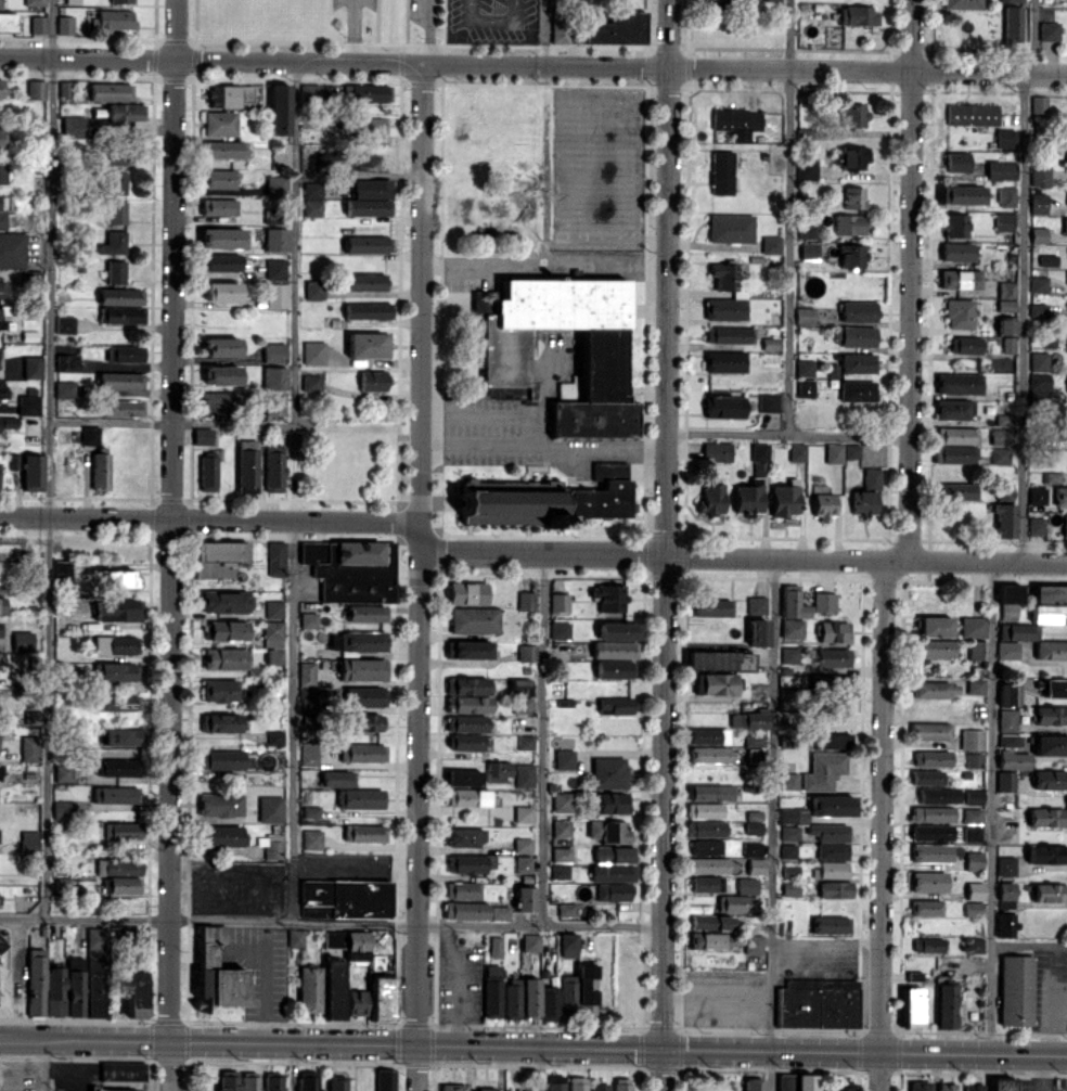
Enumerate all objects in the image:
building: (728, 0)
building: (772, 0)
building: (1011, 0)
building: (72, 1)
building: (120, 1)
building: (34, 2)
building: (0, 3)
building: (962, 4)
building: (858, 15)
road: (492, 18)
building: (112, 21)
building: (7, 22)
building: (1012, 23)
building: (38, 24)
building: (64, 24)
building: (617, 28)
road: (351, 30)
road: (426, 30)
building: (1049, 30)
road: (550, 31)
road: (1033, 35)
road: (532, 63)
building: (65, 88)
building: (36, 89)
building: (110, 91)
building: (309, 91)
building: (365, 92)
building: (222, 95)
building: (1039, 103)
building: (279, 108)
building: (125, 112)
building: (972, 114)
building: (852, 115)
building: (736, 118)
building: (219, 123)
building: (72, 126)
building: (370, 127)
building: (1065, 134)
building: (1006, 137)
building: (224, 149)
building: (849, 156)
building: (116, 159)
building: (957, 162)
building: (1001, 169)
building: (806, 170)
building: (2, 171)
building: (721, 172)
building: (1040, 175)
building: (219, 178)
building: (115, 183)
building: (275, 185)
building: (962, 194)
building: (1006, 195)
building: (370, 197)
building: (853, 197)
building: (312, 198)
building: (1038, 203)
building: (218, 206)
building: (115, 211)
building: (270, 216)
road: (789, 218)
building: (5, 220)
building: (1003, 221)
building: (848, 223)
building: (955, 224)
building: (1064, 226)
building: (730, 228)
building: (807, 231)
building: (1038, 234)
building: (222, 238)
building: (275, 239)
road: (294, 242)
building: (113, 243)
building: (365, 244)
building: (771, 244)
building: (12, 249)
building: (808, 251)
building: (956, 252)
building: (851, 255)
building: (221, 261)
road: (527, 265)
building: (275, 268)
building: (115, 271)
building: (33, 277)
road: (908, 279)
building: (960, 279)
building: (365, 281)
building: (1038, 284)
building: (2, 290)
building: (313, 290)
building: (1006, 290)
building: (222, 291)
building: (738, 294)
building: (277, 295)
building: (120, 296)
building: (1005, 305)
building: (1037, 309)
building: (368, 310)
building: (858, 310)
building: (959, 313)
building: (121, 315)
road: (1024, 315)
building: (805, 316)
building: (2, 323)
building: (65, 324)
building: (1006, 333)
building: (728, 334)
building: (853, 335)
building: (770, 343)
building: (964, 344)
building: (368, 345)
building: (221, 346)
building: (274, 351)
building: (313, 351)
building: (504, 351)
building: (125, 354)
building: (66, 361)
building: (724, 361)
building: (1038, 361)
building: (857, 362)
building: (31, 367)
building: (805, 368)
building: (221, 374)
building: (274, 377)
building: (120, 380)
building: (372, 380)
building: (311, 383)
building: (959, 383)
building: (1039, 386)
building: (0, 387)
building: (806, 387)
building: (64, 389)
building: (857, 390)
building: (220, 401)
building: (768, 401)
building: (28, 405)
building: (279, 405)
building: (724, 406)
building: (121, 408)
building: (953, 409)
building: (1004, 420)
building: (8, 422)
road: (170, 422)
building: (90, 435)
building: (955, 435)
building: (202, 436)
road: (785, 436)
building: (1000, 436)
road: (543, 447)
building: (717, 451)
building: (759, 451)
building: (796, 451)
building: (840, 452)
building: (956, 454)
road: (48, 459)
building: (247, 465)
building: (100, 467)
building: (273, 467)
building: (33, 472)
building: (208, 473)
building: (1051, 477)
building: (872, 478)
building: (956, 491)
building: (602, 492)
building: (1037, 496)
building: (1060, 496)
building: (711, 499)
building: (747, 499)
building: (510, 502)
building: (863, 502)
building: (824, 505)
road: (210, 518)
building: (1001, 519)
building: (1064, 524)
building: (1036, 526)
road: (664, 544)
road: (176, 545)
road: (744, 554)
building: (217, 557)
building: (275, 557)
building: (351, 569)
building: (60, 572)
road: (421, 576)
building: (118, 577)
building: (467, 592)
building: (1010, 593)
building: (609, 596)
building: (226, 601)
building: (526, 601)
building: (824, 601)
building: (560, 602)
building: (1050, 603)
building: (2, 604)
building: (756, 605)
building: (711, 606)
building: (273, 608)
building: (118, 609)
building: (792, 612)
building: (367, 613)
building: (308, 619)
building: (474, 619)
building: (935, 626)
building: (974, 627)
building: (226, 630)
building: (560, 630)
building: (757, 631)
building: (833, 631)
building: (1015, 631)
building: (23, 641)
building: (273, 641)
building: (362, 641)
building: (616, 641)
building: (115, 645)
building: (937, 647)
building: (468, 650)
building: (977, 650)
building: (1007, 650)
building: (1051, 650)
building: (527, 653)
building: (789, 655)
building: (832, 656)
building: (226, 658)
building: (711, 659)
building: (362, 669)
building: (613, 669)
building: (115, 671)
building: (715, 683)
building: (976, 685)
building: (307, 686)
building: (1053, 686)
building: (936, 689)
building: (221, 690)
building: (1010, 692)
building: (467, 694)
building: (364, 695)
building: (520, 695)
building: (117, 702)
building: (615, 705)
building: (1051, 715)
building: (34, 718)
building: (748, 719)
road: (293, 720)
building: (1007, 720)
building: (220, 722)
building: (364, 722)
building: (466, 723)
building: (930, 731)
building: (706, 735)
building: (121, 736)
building: (274, 737)
road: (543, 739)
building: (972, 739)
building: (754, 740)
building: (830, 740)
building: (1010, 740)
building: (465, 742)
building: (526, 742)
building: (1049, 744)
building: (29, 748)
building: (363, 753)
building: (308, 754)
building: (709, 755)
building: (756, 755)
building: (564, 758)
building: (933, 758)
building: (221, 759)
building: (1014, 759)
building: (974, 760)
building: (117, 767)
building: (823, 770)
building: (498, 771)
building: (608, 772)
building: (63, 773)
building: (524, 774)
building: (927, 776)
building: (462, 778)
building: (1050, 779)
building: (788, 780)
building: (1005, 780)
building: (351, 791)
building: (116, 795)
building: (939, 795)
building: (974, 796)
building: (467, 797)
building: (562, 801)
building: (613, 803)
road: (774, 803)
building: (220, 805)
building: (832, 805)
road: (992, 806)
building: (270, 809)
building: (63, 810)
building: (704, 810)
building: (311, 811)
building: (523, 813)
building: (933, 813)
building: (973, 816)
building: (1046, 817)
building: (754, 822)
road: (883, 823)
building: (561, 827)
building: (706, 829)
building: (123, 831)
building: (608, 831)
building: (931, 832)
building: (364, 833)
building: (789, 833)
building: (820, 833)
building: (973, 834)
building: (219, 835)
building: (465, 836)
building: (312, 838)
building: (28, 842)
building: (273, 845)
building: (523, 845)
building: (706, 846)
building: (751, 848)
building: (788, 850)
building: (931, 852)
building: (562, 855)
building: (974, 860)
building: (471, 863)
building: (614, 863)
building: (524, 864)
building: (707, 864)
building: (755, 865)
building: (1006, 865)
building: (118, 867)
building: (833, 869)
building: (790, 870)
road: (356, 871)
building: (564, 872)
building: (928, 882)
building: (62, 884)
building: (703, 884)
building: (120, 885)
building: (747, 885)
building: (789, 888)
building: (835, 888)
building: (463, 889)
building: (975, 890)
building: (613, 891)
building: (1047, 891)
building: (1005, 894)
building: (345, 898)
building: (524, 898)
building: (734, 902)
building: (927, 907)
building: (973, 908)
building: (566, 909)
building: (465, 910)
building: (500, 912)
building: (711, 922)
road: (330, 923)
building: (1006, 923)
building: (831, 924)
building: (137, 935)
building: (295, 937)
building: (346, 939)
building: (3, 940)
building: (706, 940)
road: (827, 941)
building: (530, 942)
building: (567, 945)
building: (928, 945)
building: (975, 945)
building: (753, 946)
building: (494, 947)
building: (95, 970)
building: (216, 970)
building: (43, 986)
building: (75, 987)
building: (309, 989)
building: (1016, 990)
building: (578, 992)
building: (136, 993)
building: (340, 993)
building: (500, 993)
road: (717, 997)
building: (529, 998)
building: (382, 999)
building: (549, 1003)
building: (818, 1003)
building: (947, 1005)
building: (912, 1007)
road: (532, 1047)
road: (41, 1065)
road: (292, 1066)
road: (538, 1069)
building: (123, 1070)
road: (771, 1071)
building: (385, 1079)
building: (308, 1080)
building: (249, 1081)
building: (273, 1081)
building: (337, 1082)
building: (554, 1082)
building: (796, 1082)
building: (577, 1083)
building: (621, 1083)
building: (993, 1084)
building: (920, 1086)
building: (452, 1087)
building: (599, 1087)
building: (947, 1087)
building: (838, 1088)
building: (115, 1089)

